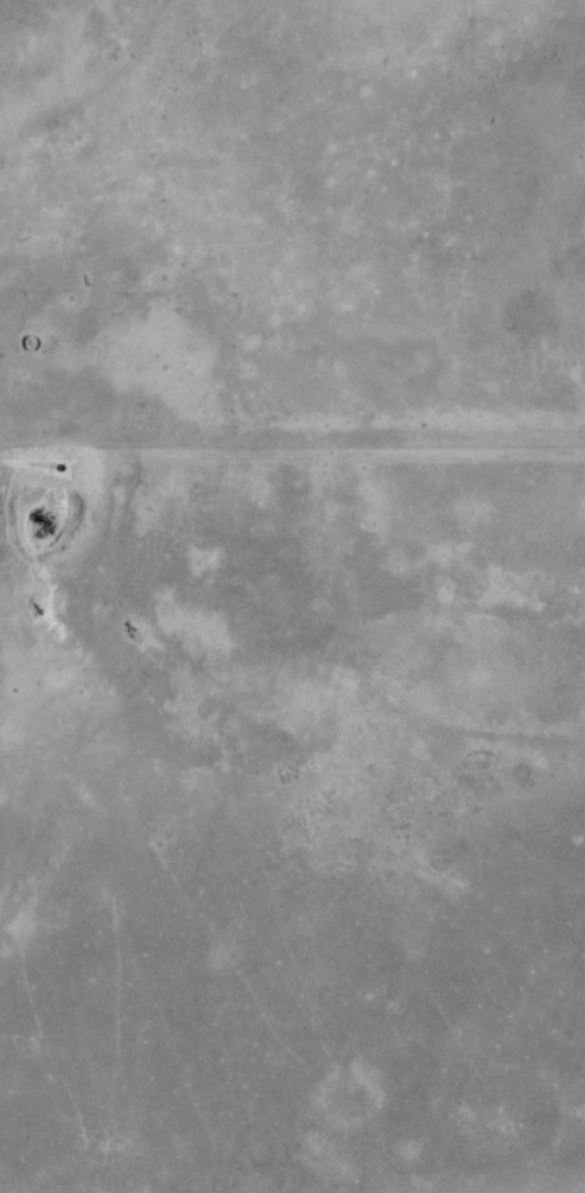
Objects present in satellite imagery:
road: (47, 749)

